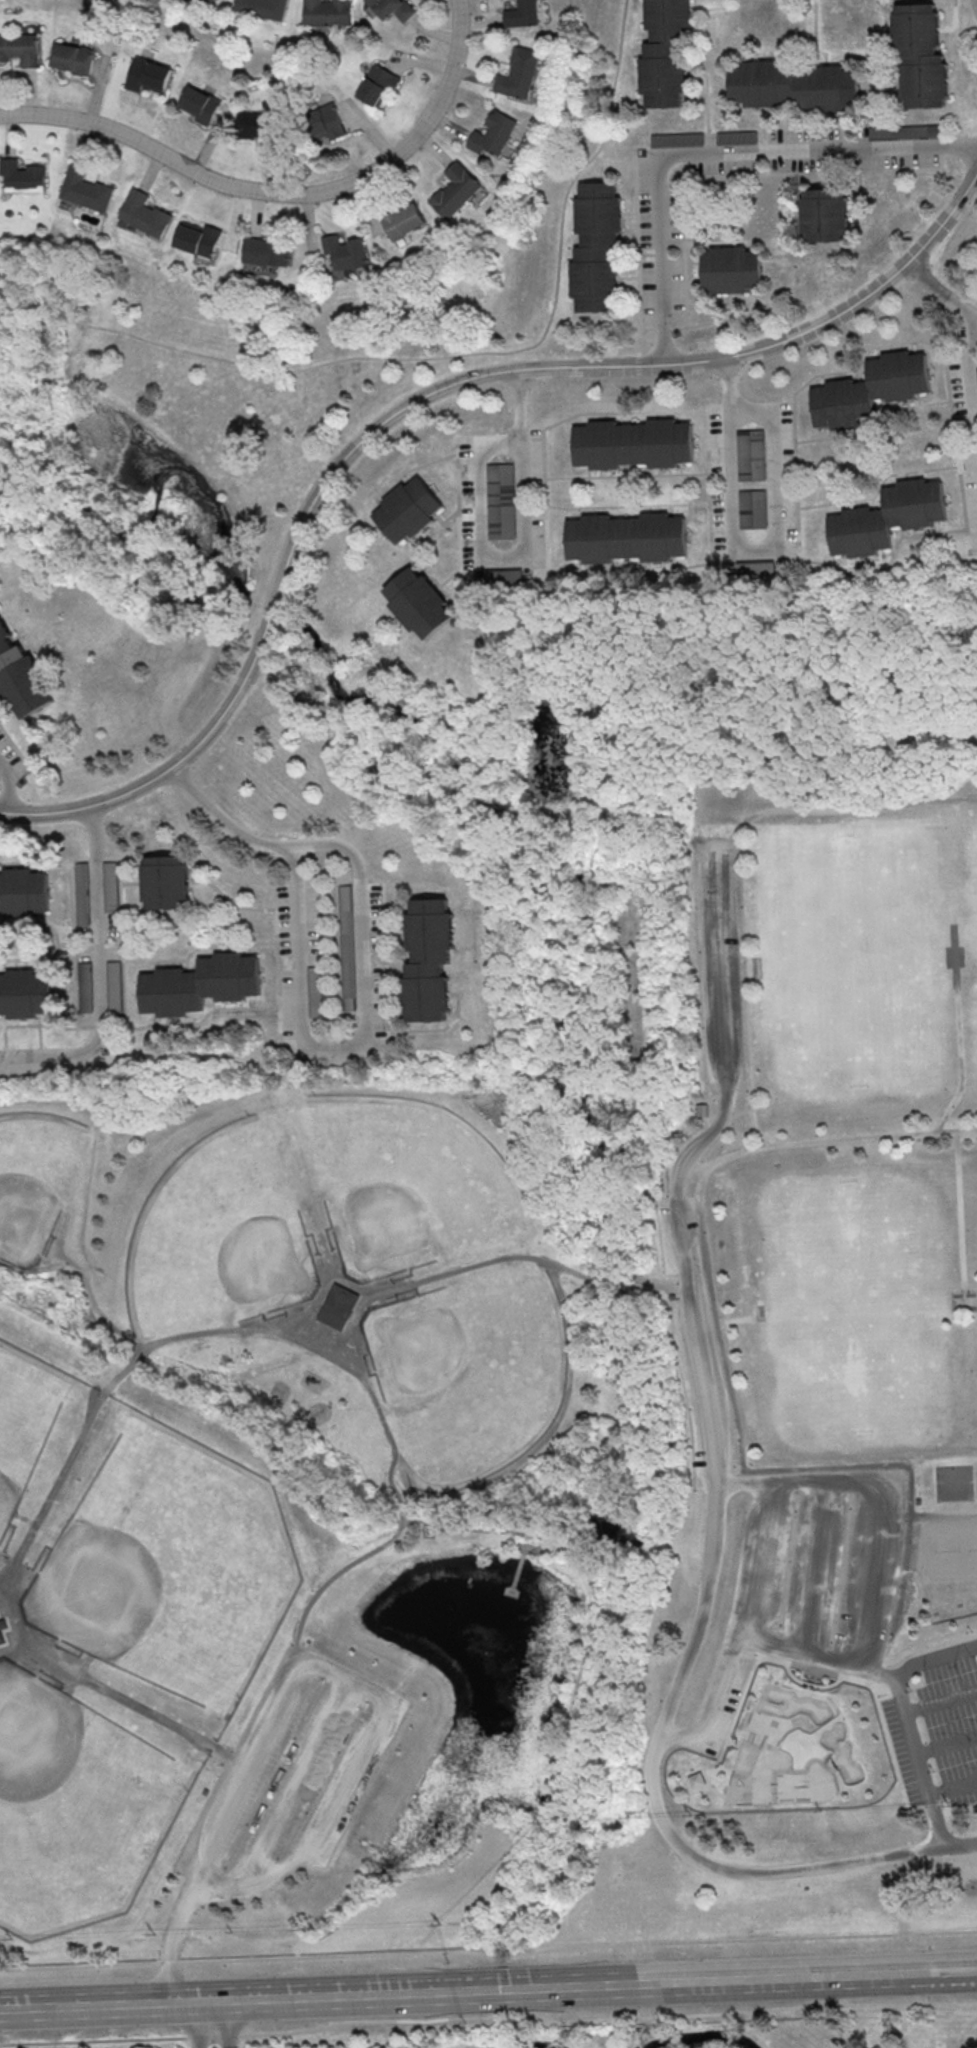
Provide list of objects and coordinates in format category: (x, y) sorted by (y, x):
building: (216, 0)
road: (976, 0)
building: (260, 7)
building: (392, 9)
park: (86, 11)
building: (325, 12)
building: (520, 13)
building: (19, 48)
building: (670, 52)
building: (918, 54)
building: (75, 57)
building: (517, 72)
building: (149, 76)
building: (379, 85)
building: (798, 86)
building: (199, 104)
building: (326, 121)
building: (260, 126)
building: (903, 131)
building: (494, 133)
building: (736, 137)
building: (676, 139)
road: (718, 156)
building: (22, 175)
building: (84, 188)
building: (454, 189)
road: (281, 192)
building: (142, 213)
building: (827, 215)
building: (405, 220)
building: (198, 238)
building: (599, 246)
building: (268, 250)
building: (347, 251)
building: (732, 270)
road: (941, 290)
road: (443, 356)
road: (970, 388)
building: (868, 389)
road: (416, 397)
park: (245, 402)
building: (630, 442)
building: (751, 454)
building: (500, 500)
building: (752, 507)
building: (411, 510)
building: (884, 517)
building: (624, 536)
road: (513, 553)
road: (751, 553)
building: (503, 574)
building: (424, 603)
building: (24, 673)
road: (8, 783)
road: (226, 822)
road: (725, 843)
park: (974, 868)
building: (168, 883)
building: (110, 886)
building: (23, 893)
building: (82, 893)
road: (363, 926)
building: (348, 947)
building: (425, 959)
road: (748, 961)
stadium: (757, 964)
park: (854, 964)
road: (302, 968)
parking lot: (720, 968)
road: (744, 971)
road: (720, 973)
stadium: (758, 974)
road: (98, 975)
road: (749, 977)
building: (114, 981)
building: (200, 984)
building: (315, 990)
building: (25, 993)
road: (960, 1031)
road: (706, 1099)
building: (703, 1111)
road: (706, 1128)
road: (750, 1141)
road: (742, 1152)
park: (29, 1170)
park: (414, 1172)
road: (960, 1210)
park: (207, 1232)
stadium: (337, 1261)
road: (479, 1264)
stadium: (322, 1265)
road: (614, 1277)
stadium: (384, 1282)
road: (657, 1283)
road: (688, 1285)
stadium: (392, 1299)
building: (339, 1307)
park: (858, 1310)
stadium: (299, 1312)
stadium: (760, 1316)
road: (736, 1318)
road: (350, 1325)
road: (257, 1330)
road: (324, 1338)
parking lot: (697, 1343)
stadium: (363, 1347)
park: (539, 1372)
park: (484, 1381)
park: (16, 1393)
road: (742, 1453)
road: (68, 1465)
road: (589, 1471)
road: (744, 1477)
park: (955, 1483)
road: (400, 1510)
road: (890, 1515)
road: (562, 1520)
road: (481, 1530)
road: (521, 1544)
park: (947, 1548)
park: (191, 1560)
road: (815, 1566)
pier: (513, 1573)
road: (331, 1581)
parking lot: (807, 1583)
road: (584, 1623)
road: (15, 1624)
road: (856, 1629)
building: (1, 1637)
road: (926, 1649)
road: (866, 1668)
road: (890, 1675)
road: (882, 1679)
road: (855, 1680)
road: (371, 1687)
road: (808, 1688)
road: (710, 1699)
road: (901, 1701)
road: (941, 1701)
road: (140, 1708)
road: (623, 1708)
road: (734, 1716)
road: (596, 1721)
parking lot: (936, 1726)
road: (733, 1742)
road: (947, 1746)
park: (794, 1751)
road: (304, 1768)
road: (685, 1775)
parking lot: (293, 1778)
building: (697, 1782)
road: (953, 1788)
road: (716, 1791)
road: (662, 1815)
park: (74, 1827)
road: (938, 1828)
road: (174, 1940)
road: (488, 1954)
road: (957, 1974)
road: (922, 1976)
road: (725, 1982)
road: (504, 1989)
road: (231, 1998)
road: (488, 2015)
road: (197, 2023)
road: (231, 2023)

